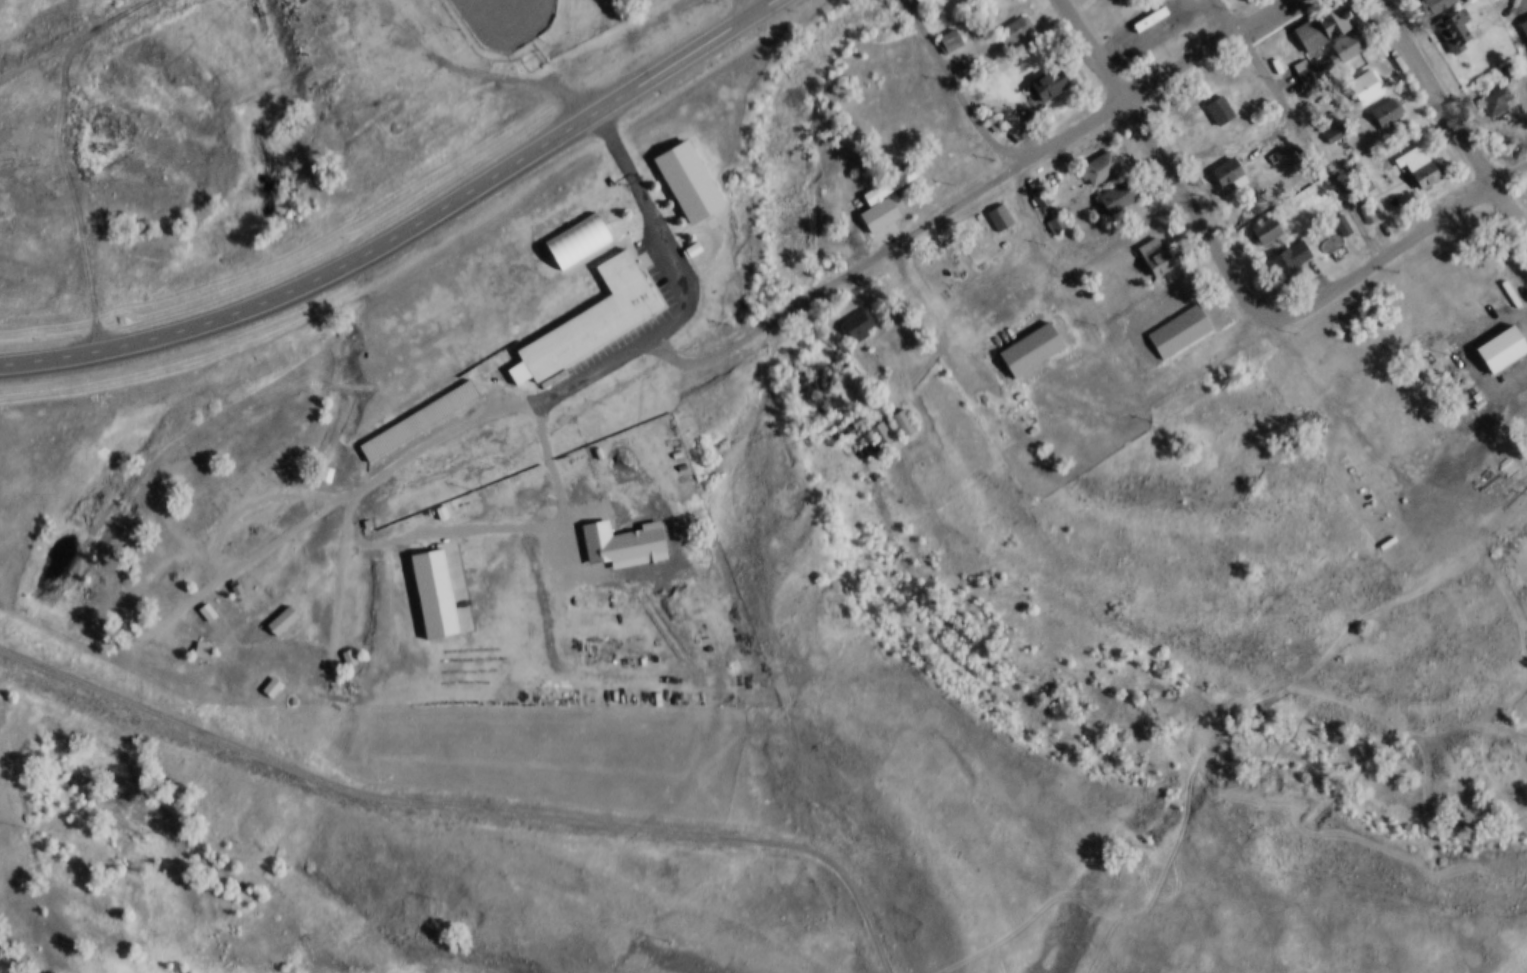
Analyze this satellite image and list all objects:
building: (1425, 1)
road: (744, 7)
building: (1142, 8)
park: (502, 15)
building: (1522, 15)
building: (1010, 18)
building: (1449, 18)
building: (1321, 21)
building: (944, 27)
building: (1523, 29)
building: (1149, 30)
building: (1014, 32)
building: (1455, 34)
building: (1160, 42)
building: (1504, 59)
building: (1303, 61)
building: (1360, 72)
building: (1042, 73)
building: (1510, 74)
road: (1152, 81)
building: (1491, 85)
building: (1049, 87)
road: (956, 88)
building: (1365, 89)
building: (1215, 96)
building: (1382, 99)
building: (1494, 102)
building: (989, 110)
building: (1219, 112)
building: (1387, 115)
building: (1331, 120)
road: (1451, 120)
road: (1299, 127)
building: (1336, 136)
building: (1273, 142)
road: (1232, 150)
road: (72, 152)
building: (1414, 153)
building: (1095, 154)
building: (1224, 161)
road: (1164, 164)
building: (1418, 169)
building: (1099, 170)
building: (1027, 172)
building: (1361, 175)
building: (1228, 176)
building: (1114, 183)
building: (1036, 185)
building: (879, 188)
building: (1117, 199)
building: (1041, 200)
building: (1364, 201)
building: (995, 205)
building: (1051, 211)
building: (1338, 212)
building: (1261, 218)
building: (1000, 219)
road: (404, 227)
building: (1266, 232)
road: (1401, 239)
building: (1152, 243)
building: (1284, 247)
building: (1161, 263)
building: (1289, 263)
road: (682, 279)
road: (837, 280)
building: (1520, 284)
building: (587, 305)
parking lot: (661, 311)
building: (854, 311)
building: (1174, 317)
building: (858, 327)
building: (1026, 336)
building: (1495, 337)
building: (1030, 352)
building: (1501, 352)
building: (830, 390)
building: (853, 406)
building: (412, 408)
building: (898, 410)
building: (877, 420)
building: (901, 425)
building: (805, 429)
building: (375, 448)
building: (323, 461)
building: (872, 461)
road: (332, 506)
building: (363, 511)
building: (615, 530)
building: (231, 575)
building: (427, 581)
building: (202, 599)
building: (277, 608)
building: (197, 635)
building: (344, 645)
building: (266, 675)
road: (461, 808)

